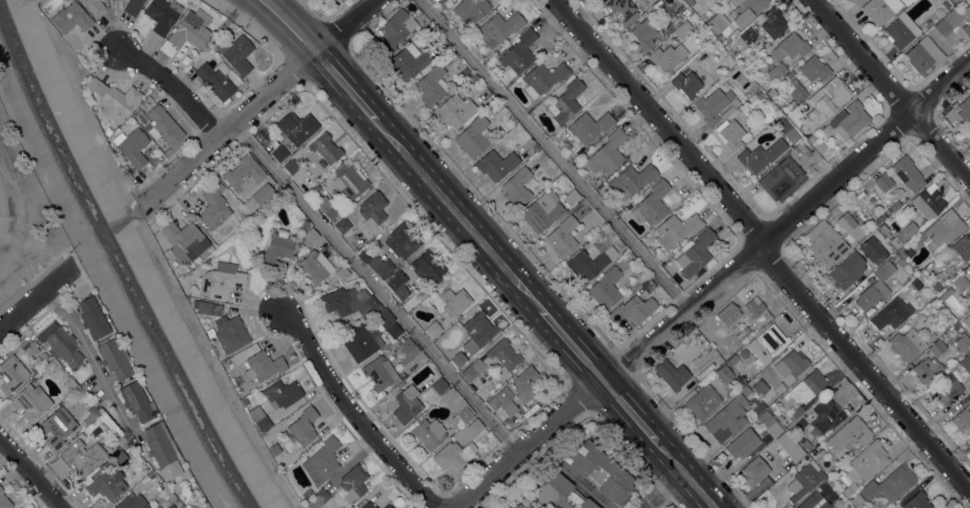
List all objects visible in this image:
building: (319, 0)
building: (321, 0)
building: (600, 0)
building: (604, 0)
building: (853, 0)
building: (856, 0)
building: (951, 0)
building: (954, 0)
building: (493, 1)
building: (690, 2)
building: (906, 2)
building: (443, 3)
building: (946, 4)
building: (132, 6)
building: (94, 7)
road: (316, 9)
building: (472, 9)
building: (880, 9)
building: (622, 10)
building: (745, 10)
building: (417, 11)
building: (967, 11)
building: (685, 12)
building: (162, 14)
building: (70, 17)
building: (223, 21)
building: (949, 21)
building: (717, 22)
road: (43, 23)
building: (773, 23)
road: (290, 24)
road: (249, 26)
building: (499, 27)
building: (683, 29)
building: (395, 30)
building: (187, 31)
road: (336, 32)
building: (900, 32)
building: (643, 33)
building: (745, 36)
building: (716, 43)
building: (789, 46)
building: (519, 51)
building: (236, 53)
building: (923, 55)
building: (667, 56)
building: (187, 57)
building: (408, 61)
road: (292, 67)
building: (814, 68)
building: (777, 69)
building: (465, 70)
building: (542, 78)
building: (216, 79)
road: (344, 84)
building: (431, 84)
building: (686, 84)
road: (173, 88)
road: (892, 89)
building: (798, 92)
building: (113, 99)
building: (826, 99)
building: (145, 100)
building: (566, 101)
road: (259, 103)
building: (714, 105)
building: (454, 110)
building: (965, 110)
building: (848, 120)
building: (163, 125)
building: (589, 125)
building: (297, 126)
building: (784, 128)
building: (109, 130)
building: (730, 133)
building: (474, 136)
building: (811, 139)
building: (818, 145)
building: (131, 146)
building: (535, 146)
building: (325, 147)
building: (280, 152)
road: (553, 152)
building: (607, 152)
building: (760, 155)
building: (496, 164)
building: (291, 165)
building: (788, 170)
building: (907, 173)
building: (243, 174)
building: (632, 179)
building: (349, 180)
building: (884, 181)
building: (517, 187)
building: (258, 196)
building: (571, 196)
road: (482, 198)
building: (929, 201)
building: (651, 203)
building: (214, 205)
building: (895, 205)
building: (327, 207)
building: (372, 209)
building: (542, 210)
road: (19, 211)
building: (296, 211)
building: (888, 211)
road: (457, 213)
building: (882, 216)
building: (876, 222)
building: (342, 224)
building: (849, 226)
building: (883, 228)
building: (674, 229)
building: (941, 229)
building: (907, 231)
road: (435, 233)
building: (562, 236)
building: (309, 237)
building: (185, 238)
building: (401, 240)
building: (895, 240)
building: (825, 243)
road: (762, 244)
building: (276, 247)
building: (959, 248)
building: (873, 249)
building: (903, 252)
building: (695, 253)
building: (896, 255)
building: (590, 261)
building: (900, 261)
building: (377, 264)
building: (314, 266)
building: (427, 266)
building: (929, 266)
building: (847, 270)
building: (342, 272)
building: (220, 279)
road: (169, 280)
building: (960, 282)
building: (916, 283)
building: (398, 284)
building: (648, 284)
road: (709, 284)
building: (937, 286)
building: (875, 287)
road: (376, 288)
building: (605, 288)
building: (946, 293)
road: (35, 297)
building: (969, 298)
building: (351, 301)
building: (454, 301)
building: (734, 302)
building: (754, 306)
building: (206, 307)
building: (632, 309)
building: (892, 313)
building: (92, 317)
building: (967, 321)
building: (387, 323)
building: (956, 325)
building: (433, 328)
building: (479, 328)
building: (228, 332)
building: (743, 332)
building: (935, 332)
building: (362, 340)
building: (767, 342)
building: (962, 342)
building: (906, 343)
road: (571, 344)
building: (64, 346)
building: (937, 347)
building: (30, 348)
building: (406, 348)
building: (712, 352)
road: (89, 353)
building: (504, 353)
building: (45, 355)
building: (112, 358)
building: (458, 359)
building: (718, 359)
building: (794, 361)
building: (966, 362)
building: (53, 364)
building: (263, 365)
building: (34, 368)
building: (472, 369)
building: (927, 369)
building: (380, 372)
building: (671, 373)
building: (724, 373)
building: (11, 374)
building: (525, 383)
building: (740, 383)
building: (439, 385)
building: (760, 387)
building: (803, 388)
building: (946, 388)
building: (744, 389)
building: (281, 393)
road: (580, 396)
building: (32, 401)
building: (135, 401)
building: (244, 401)
building: (494, 401)
building: (702, 402)
building: (406, 404)
building: (456, 404)
building: (756, 405)
building: (509, 407)
building: (93, 410)
road: (629, 410)
building: (808, 410)
building: (776, 412)
building: (797, 413)
road: (355, 417)
building: (258, 418)
building: (727, 418)
building: (824, 418)
building: (962, 418)
building: (769, 423)
building: (57, 426)
building: (302, 426)
building: (475, 426)
building: (428, 433)
building: (849, 434)
building: (117, 437)
building: (969, 439)
building: (742, 443)
building: (159, 444)
building: (806, 444)
building: (789, 446)
building: (816, 451)
building: (454, 454)
building: (82, 457)
building: (119, 457)
road: (633, 458)
building: (805, 458)
building: (321, 461)
building: (867, 461)
building: (174, 470)
building: (754, 470)
building: (599, 471)
road: (30, 472)
road: (685, 474)
building: (149, 475)
building: (802, 482)
building: (889, 482)
building: (352, 483)
building: (107, 484)
road: (583, 485)
road: (660, 489)
building: (849, 489)
building: (560, 492)
building: (306, 493)
building: (316, 499)
building: (4, 500)
building: (810, 500)
building: (857, 500)
building: (131, 501)
building: (917, 501)
building: (368, 505)
building: (824, 505)
building: (354, 506)
building: (387, 506)
building: (520, 506)
building: (18, 507)

